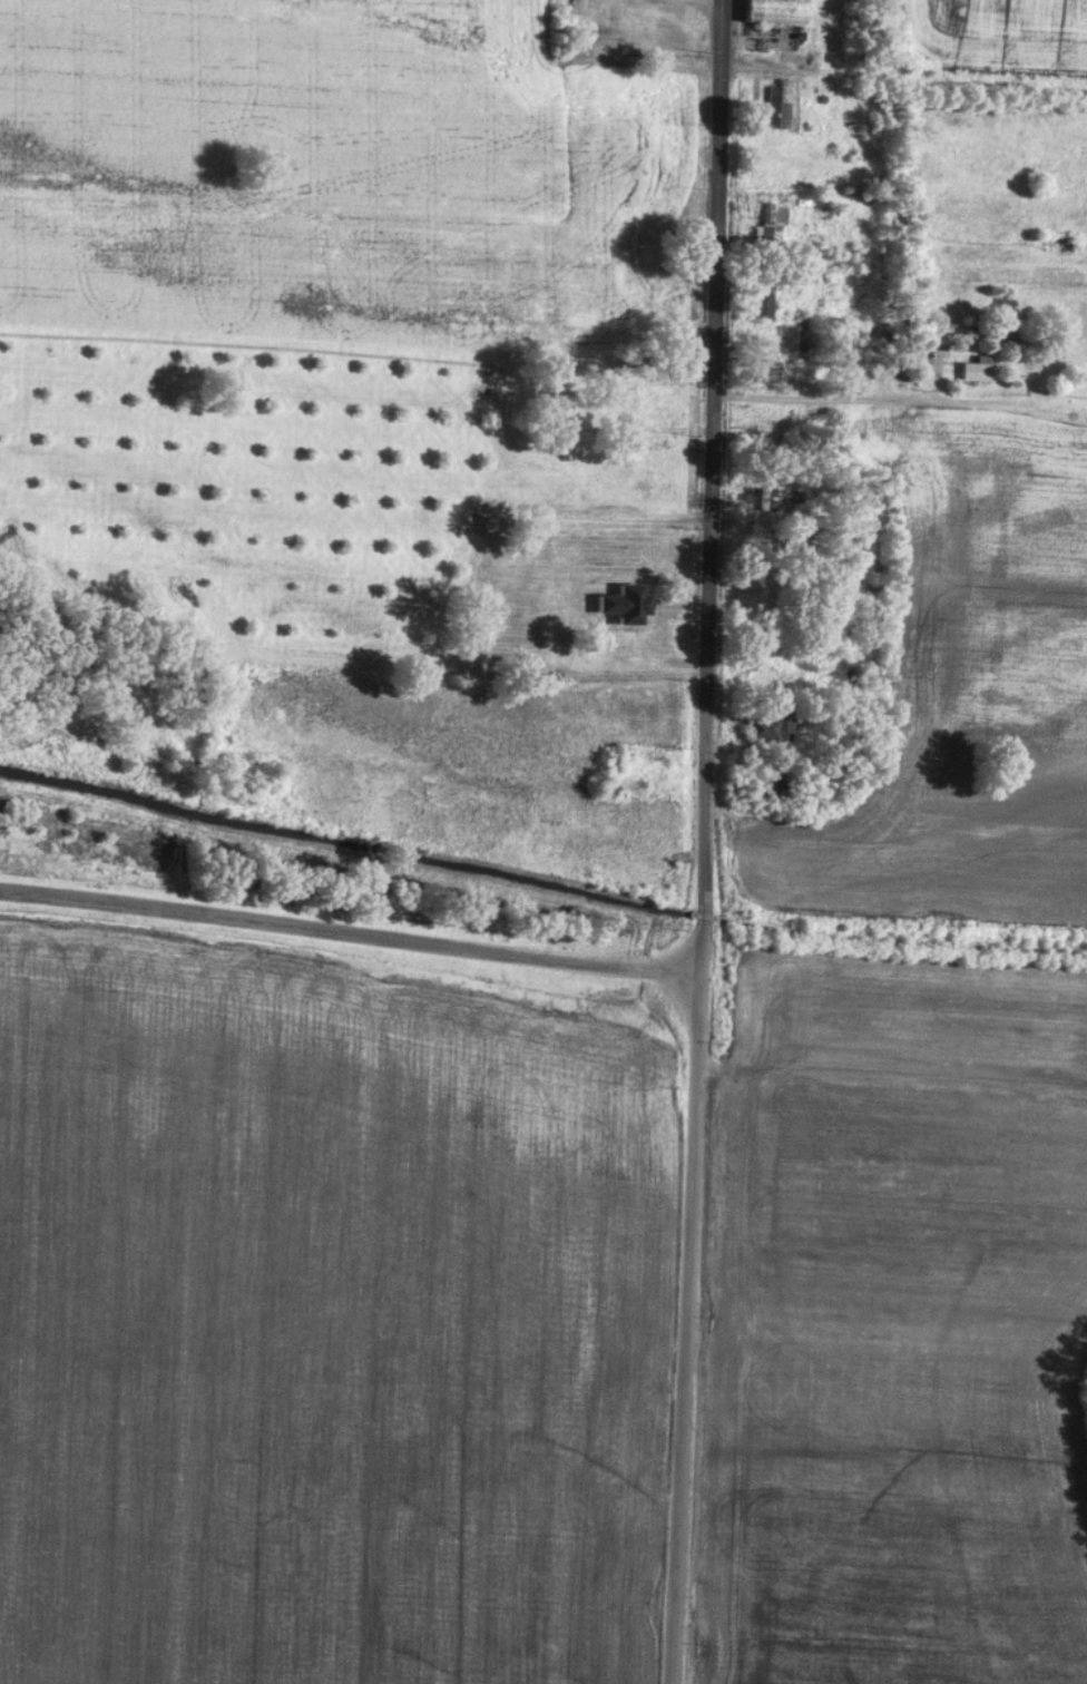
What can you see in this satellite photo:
building: (773, 12)
road: (806, 72)
building: (782, 116)
building: (768, 227)
building: (648, 281)
building: (763, 300)
building: (800, 339)
building: (760, 372)
building: (973, 373)
building: (662, 399)
road: (856, 400)
building: (647, 461)
road: (709, 487)
building: (760, 500)
building: (796, 531)
building: (625, 605)
building: (771, 728)
building: (608, 789)
road: (349, 934)
road: (683, 1329)

